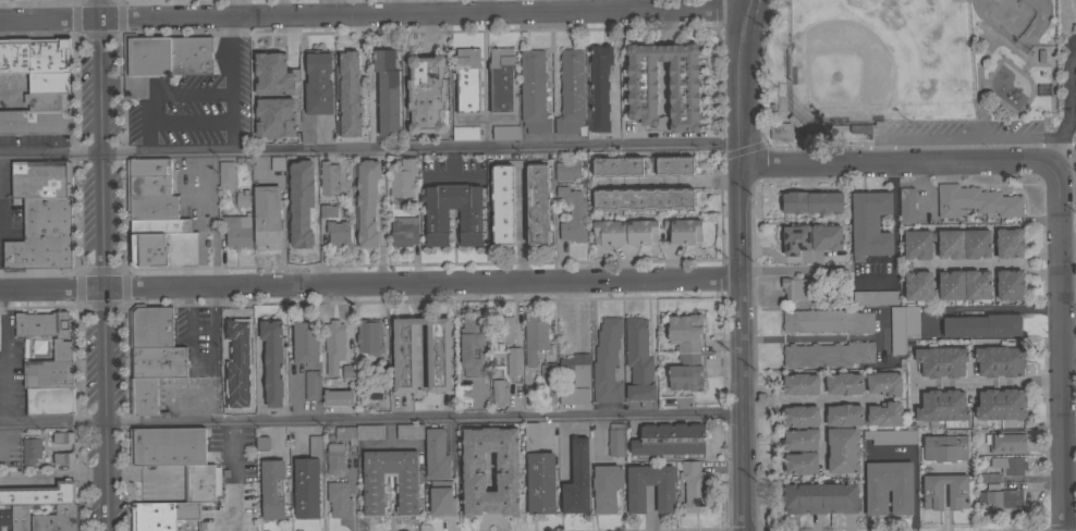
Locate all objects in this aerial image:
building: (62, 0)
building: (118, 0)
road: (75, 1)
road: (121, 1)
road: (738, 5)
road: (326, 10)
road: (370, 18)
park: (1015, 18)
building: (34, 54)
building: (162, 59)
building: (350, 62)
building: (260, 70)
building: (288, 70)
park: (912, 72)
building: (501, 79)
building: (467, 81)
building: (48, 82)
building: (641, 84)
road: (229, 87)
building: (599, 88)
road: (159, 90)
building: (387, 90)
building: (534, 91)
building: (316, 92)
building: (571, 92)
building: (338, 94)
building: (426, 94)
building: (46, 100)
road: (615, 103)
road: (1069, 106)
building: (356, 108)
building: (36, 122)
road: (191, 122)
building: (860, 128)
building: (291, 129)
building: (257, 131)
building: (780, 131)
building: (505, 132)
building: (351, 133)
building: (465, 133)
road: (961, 137)
road: (368, 149)
building: (278, 162)
road: (898, 162)
building: (641, 165)
building: (147, 166)
building: (568, 168)
building: (225, 173)
building: (302, 174)
building: (41, 177)
building: (329, 177)
road: (669, 182)
building: (148, 185)
building: (399, 186)
building: (242, 197)
building: (311, 198)
building: (643, 198)
building: (975, 200)
building: (366, 201)
building: (811, 201)
building: (537, 203)
building: (502, 205)
building: (907, 205)
building: (151, 206)
building: (328, 210)
building: (572, 214)
building: (267, 217)
building: (966, 219)
road: (208, 220)
building: (1004, 221)
building: (870, 224)
building: (160, 225)
building: (470, 227)
building: (684, 229)
building: (237, 230)
building: (298, 230)
building: (403, 231)
building: (338, 232)
building: (643, 232)
building: (608, 233)
building: (489, 234)
building: (44, 235)
building: (810, 237)
building: (1008, 243)
building: (918, 244)
building: (951, 244)
building: (976, 244)
road: (1068, 244)
building: (162, 249)
road: (1027, 262)
road: (102, 264)
road: (738, 264)
road: (973, 265)
road: (369, 283)
building: (951, 284)
building: (977, 284)
building: (1010, 284)
building: (919, 285)
building: (796, 287)
building: (875, 297)
road: (414, 299)
road: (990, 307)
road: (420, 320)
building: (828, 320)
building: (982, 324)
building: (150, 325)
building: (902, 325)
building: (504, 328)
building: (369, 336)
building: (534, 337)
road: (812, 337)
building: (334, 338)
building: (305, 342)
building: (234, 345)
road: (1064, 345)
building: (472, 346)
building: (685, 351)
road: (421, 354)
building: (828, 354)
building: (439, 356)
building: (1000, 359)
building: (513, 360)
building: (638, 360)
building: (941, 360)
building: (158, 361)
building: (273, 361)
building: (607, 361)
building: (48, 365)
building: (548, 369)
building: (575, 370)
building: (349, 372)
road: (1, 374)
building: (234, 381)
road: (988, 382)
building: (844, 383)
building: (883, 383)
building: (311, 384)
building: (800, 384)
building: (499, 392)
building: (143, 395)
building: (574, 395)
building: (338, 397)
road: (826, 398)
road: (774, 399)
building: (1001, 404)
building: (943, 407)
building: (884, 413)
building: (844, 415)
building: (800, 416)
road: (370, 421)
building: (909, 427)
building: (409, 431)
building: (359, 432)
road: (823, 435)
building: (63, 436)
building: (889, 437)
building: (800, 439)
building: (615, 440)
building: (669, 440)
building: (1005, 441)
building: (261, 443)
building: (167, 445)
building: (945, 447)
building: (843, 449)
building: (30, 450)
building: (436, 454)
building: (333, 457)
building: (63, 458)
building: (800, 462)
building: (1008, 464)
building: (468, 470)
building: (538, 473)
road: (235, 477)
building: (990, 477)
building: (577, 479)
building: (201, 482)
building: (374, 483)
building: (692, 485)
building: (606, 486)
building: (272, 487)
building: (306, 487)
building: (889, 487)
building: (40, 494)
building: (932, 495)
building: (821, 497)
building: (636, 498)
building: (339, 499)
building: (1002, 501)
building: (441, 502)
building: (176, 516)
building: (20, 517)
building: (5, 518)
building: (57, 519)

